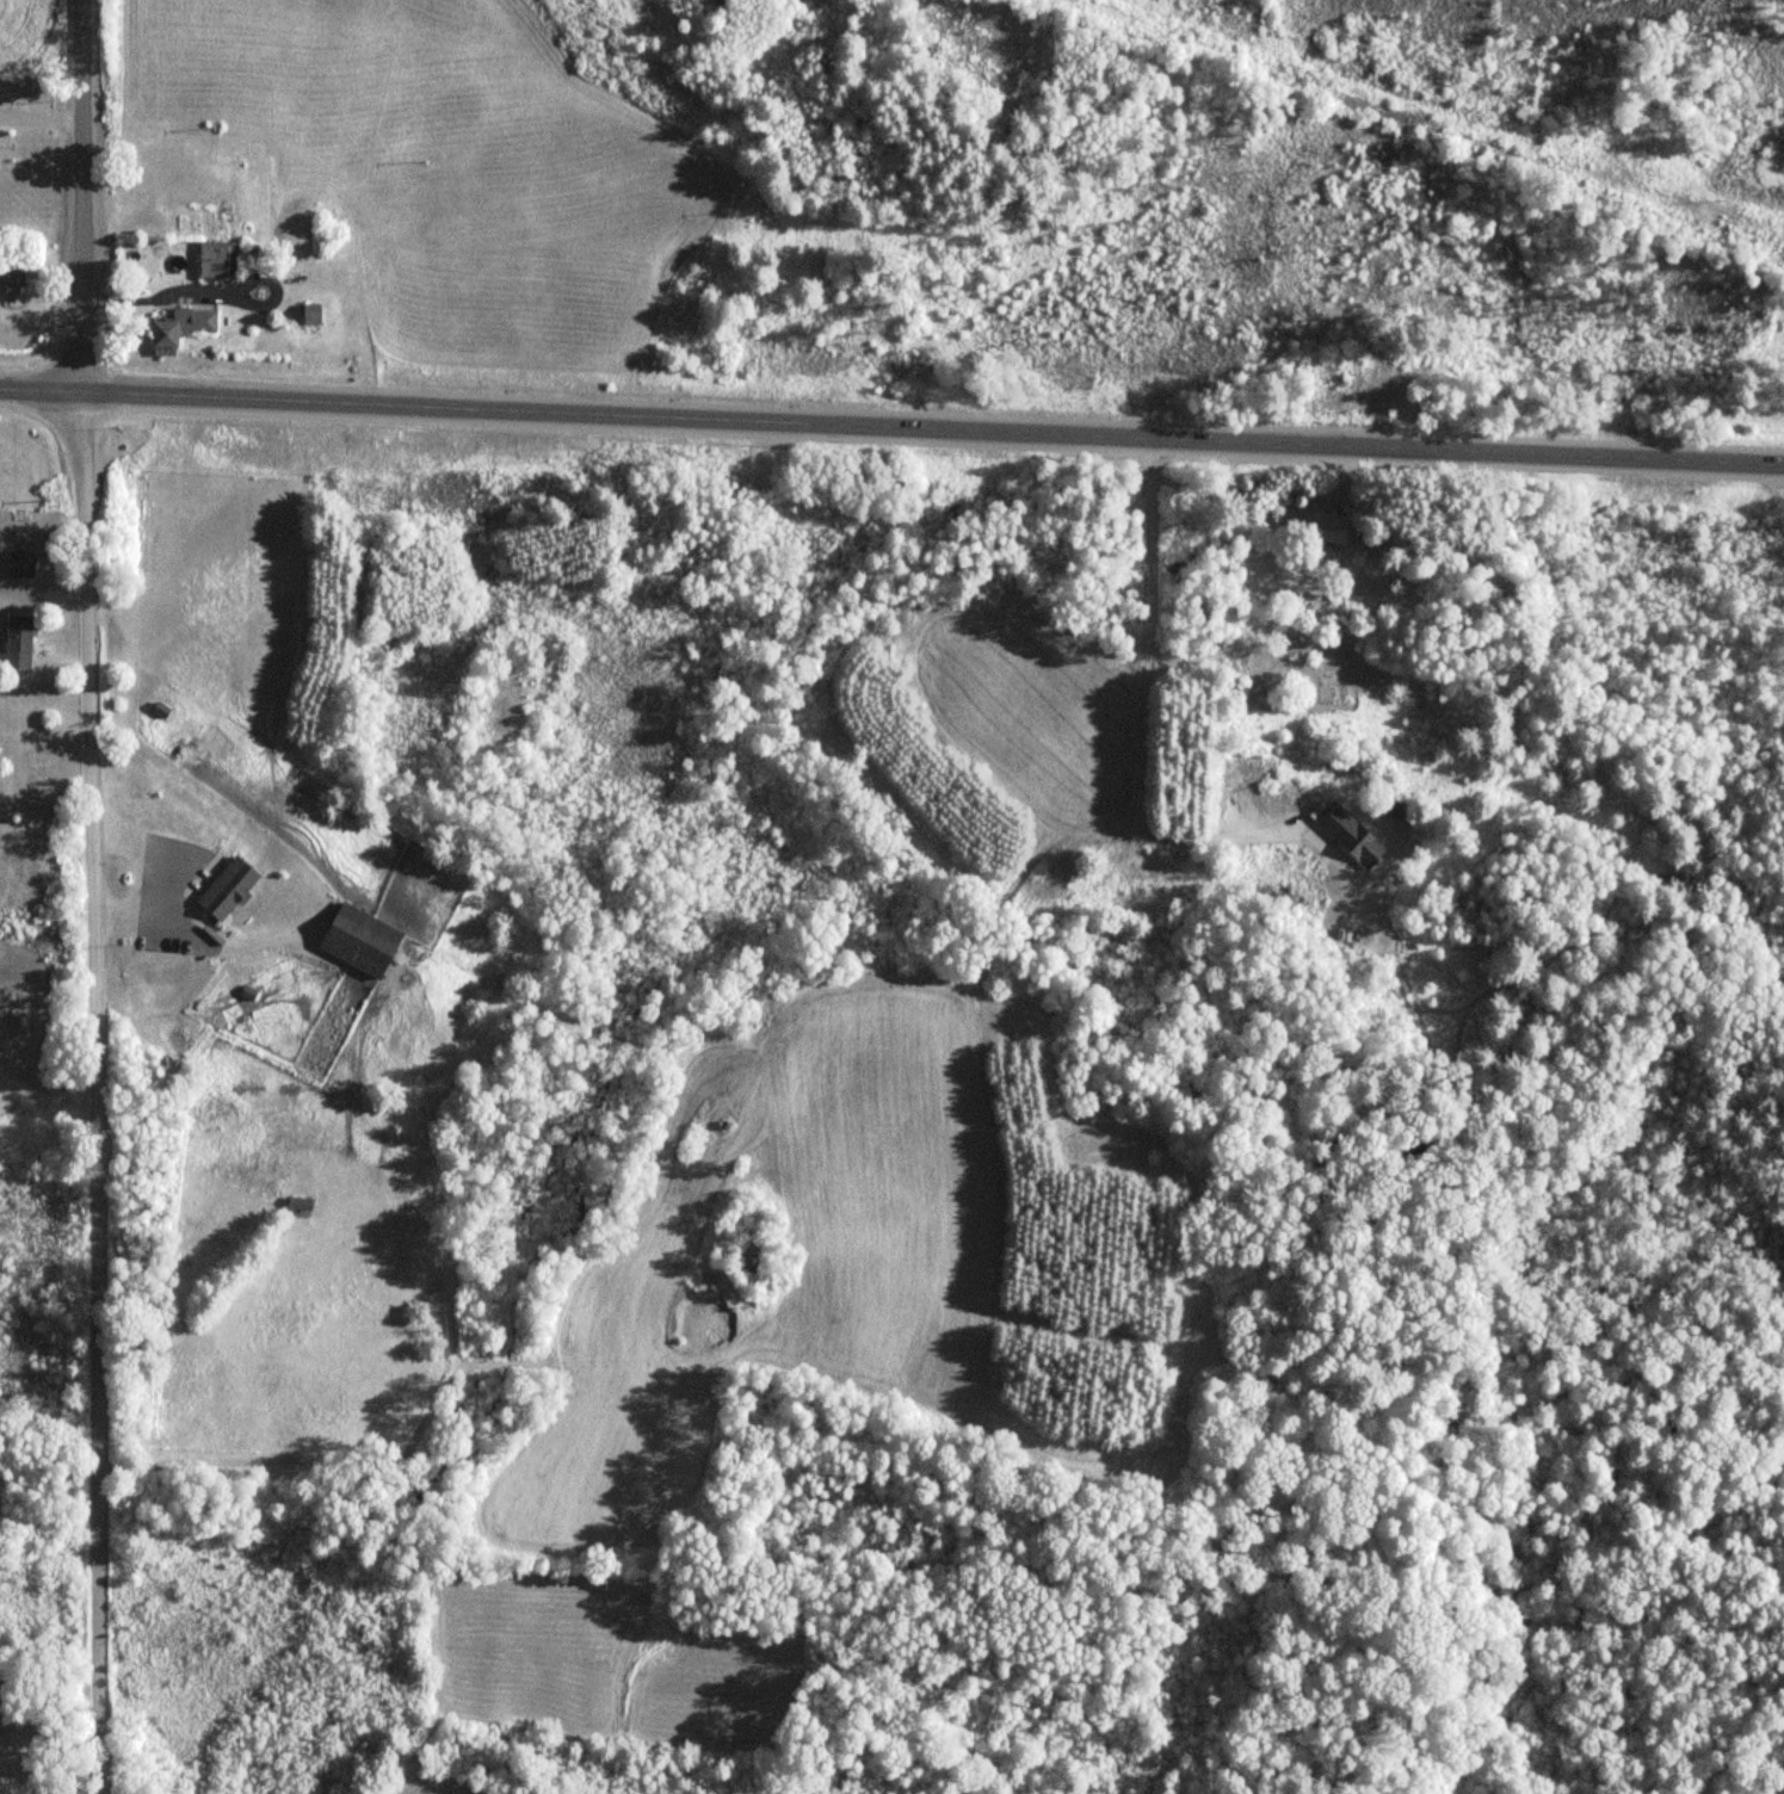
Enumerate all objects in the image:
road: (78, 196)
building: (216, 261)
building: (11, 279)
building: (310, 316)
building: (179, 329)
road: (38, 389)
road: (931, 427)
building: (1329, 530)
building: (20, 564)
building: (17, 643)
building: (1360, 846)
building: (227, 889)
building: (359, 941)
road: (88, 1091)
building: (298, 1205)
road: (48, 1745)

